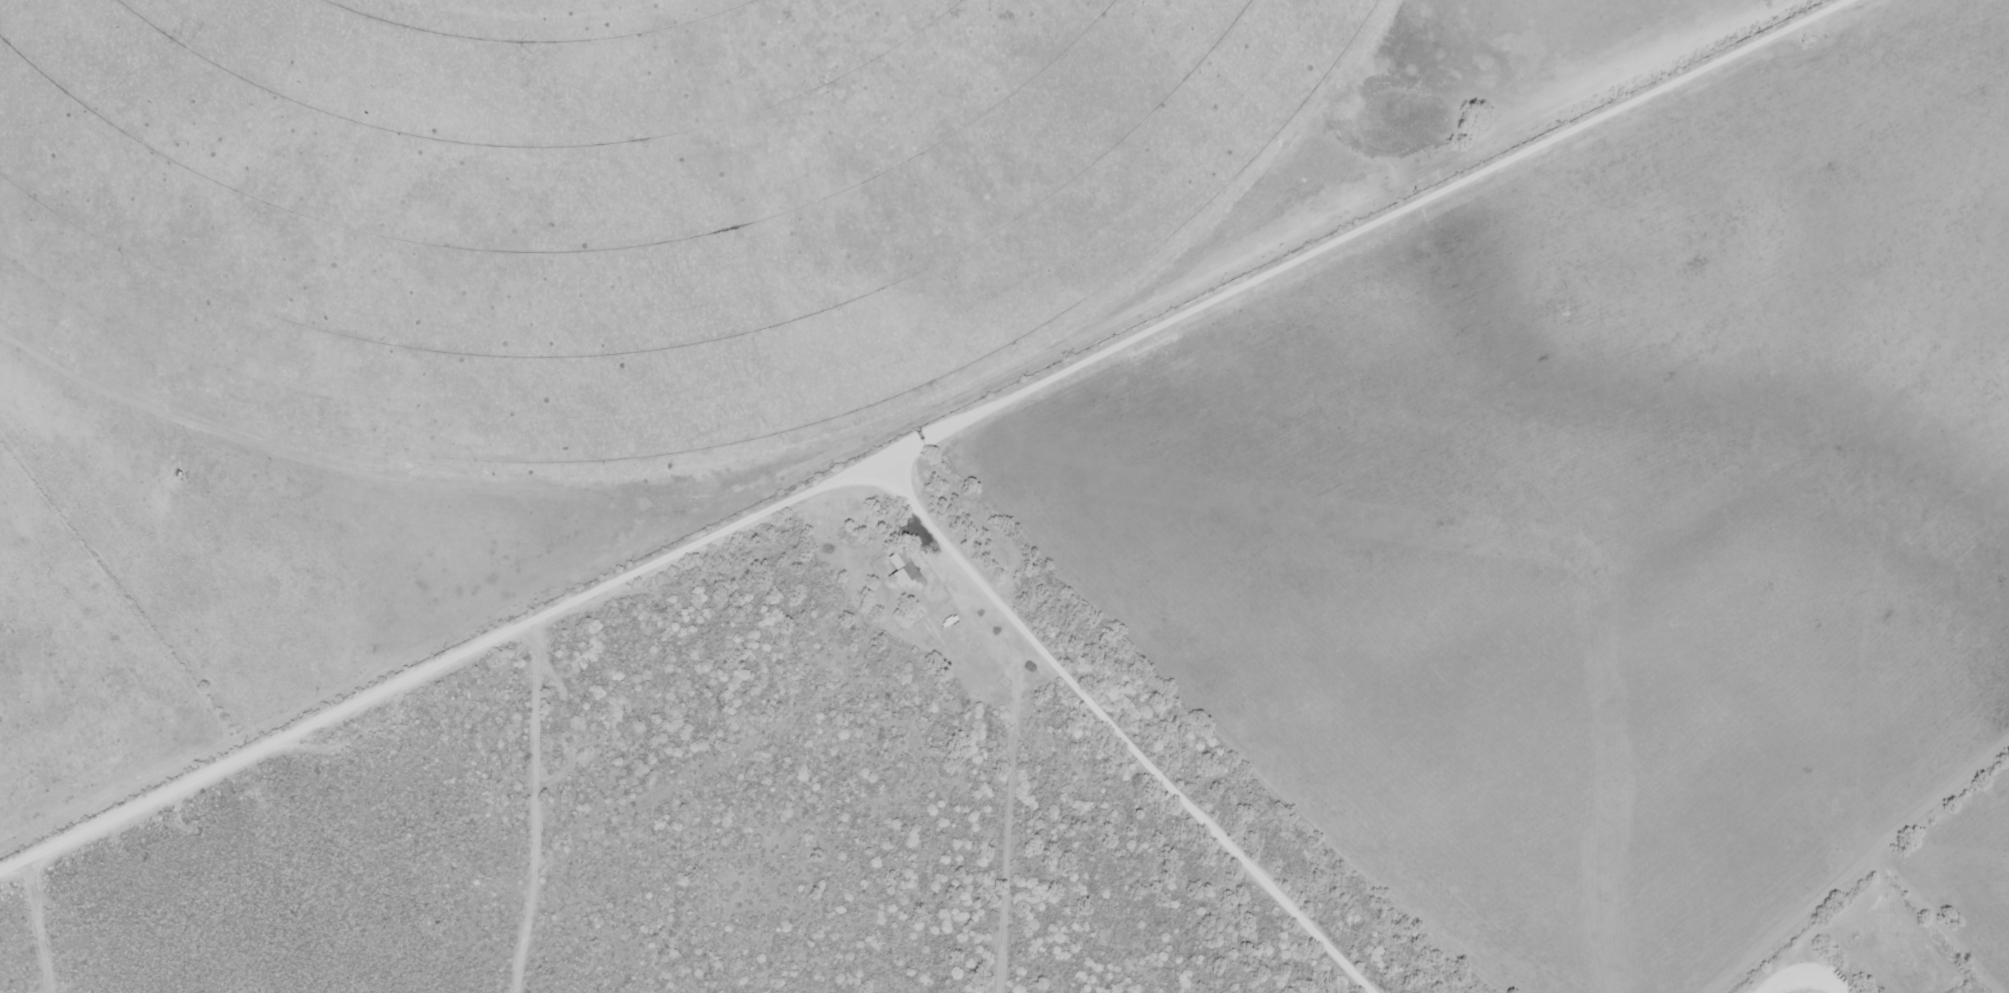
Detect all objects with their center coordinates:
road: (1335, 243)
road: (71, 279)
road: (884, 482)
road: (759, 516)
building: (902, 572)
road: (541, 805)

